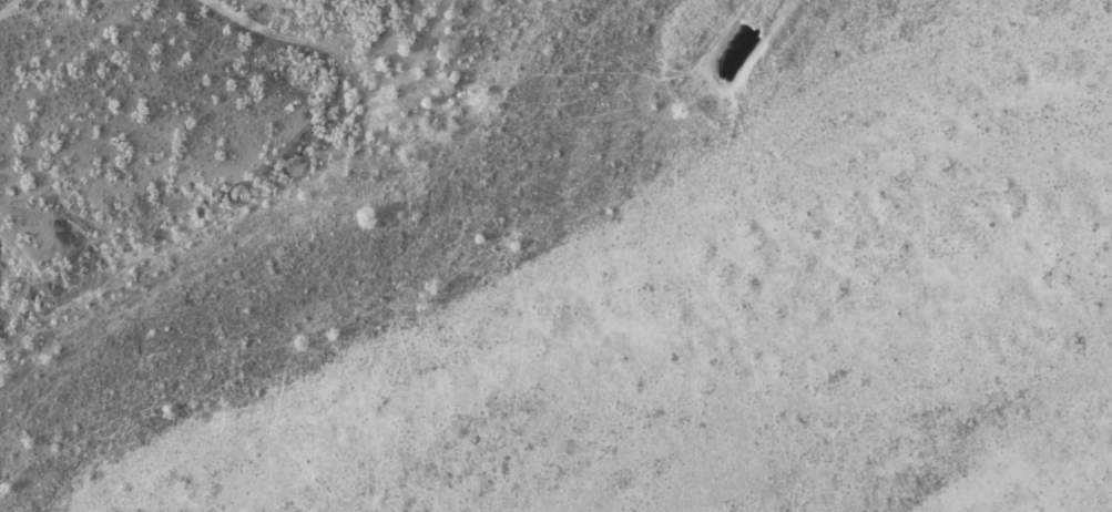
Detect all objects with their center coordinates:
road: (284, 11)

